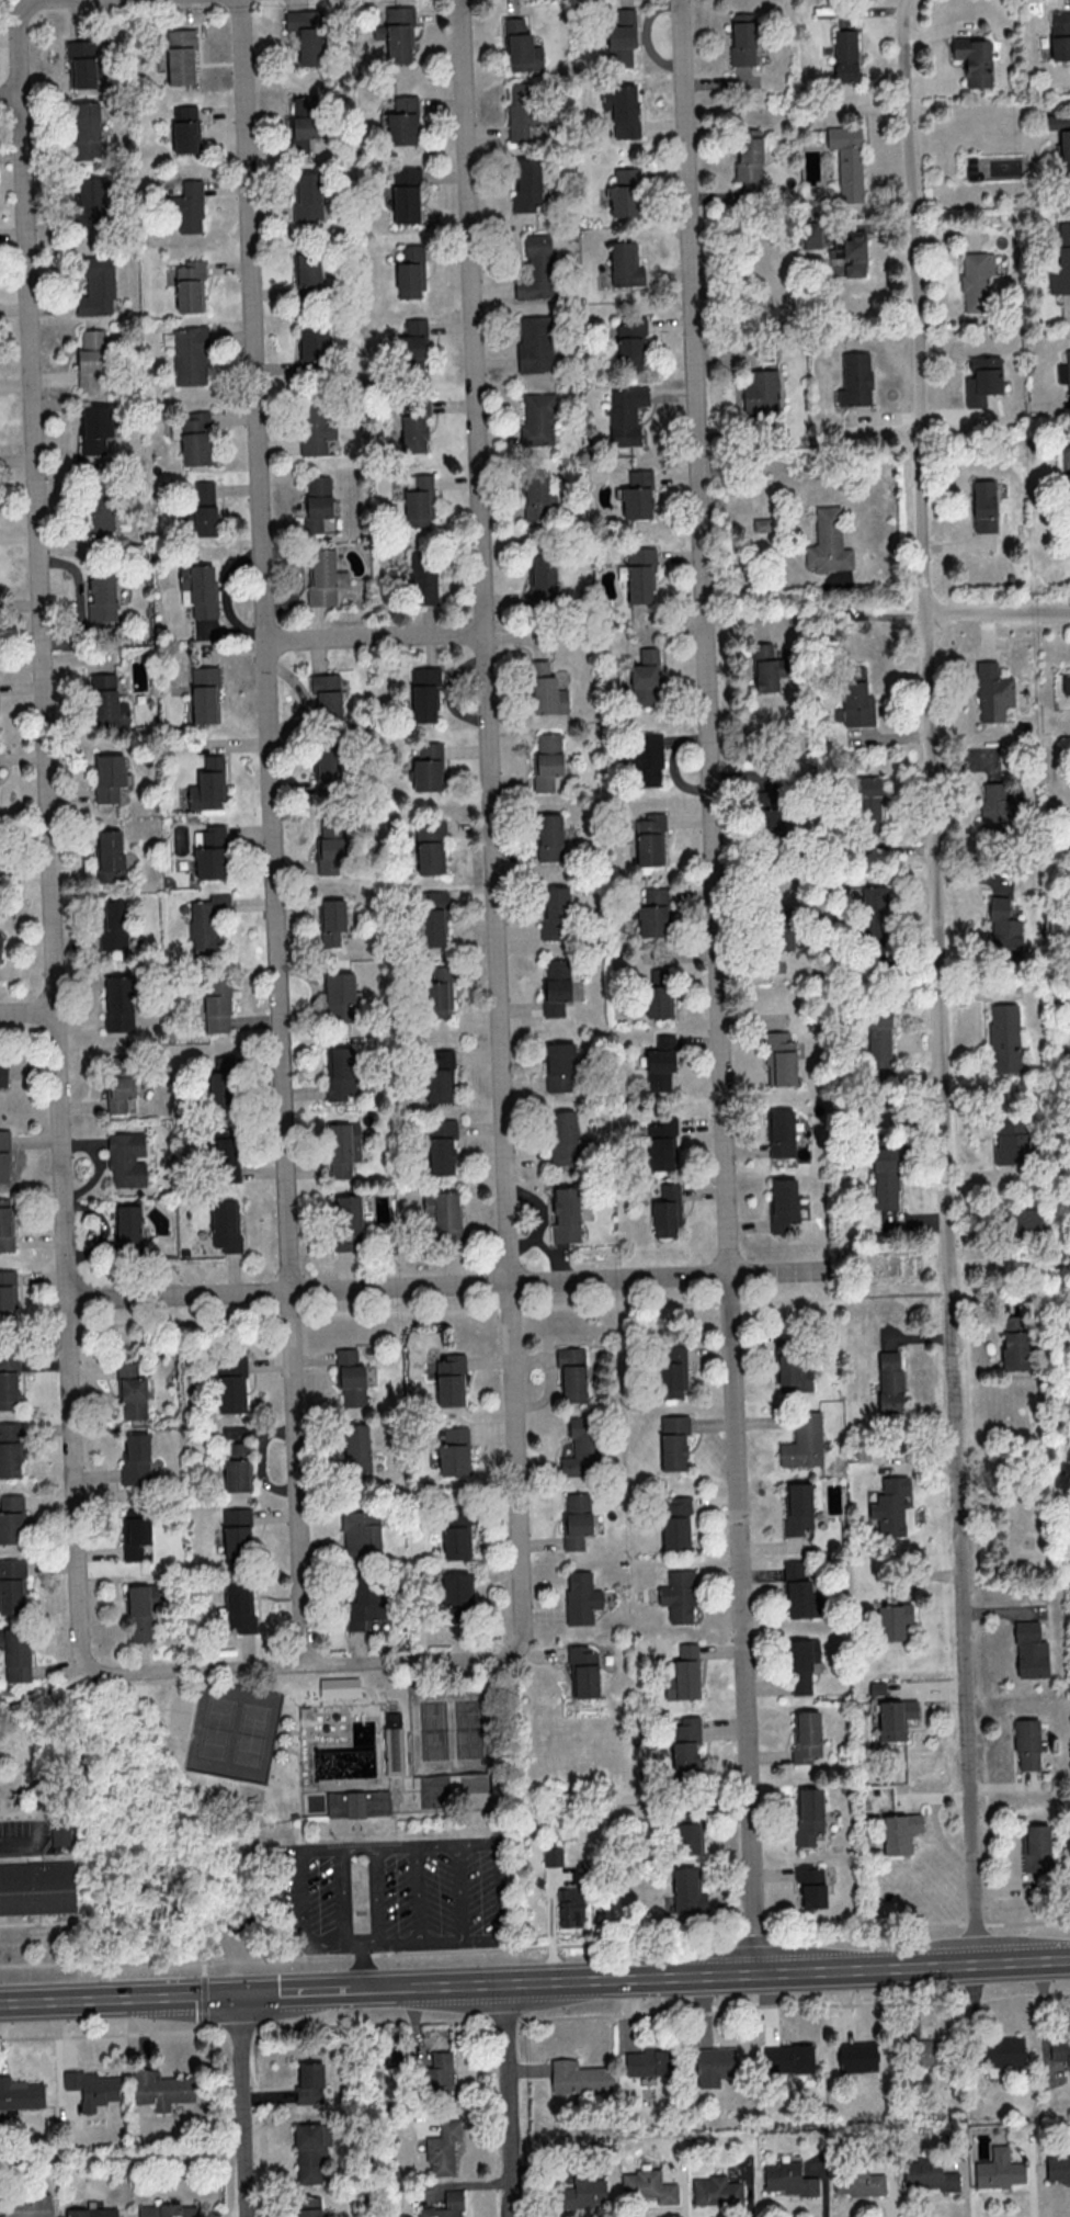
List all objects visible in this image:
road: (35, 2)
building: (306, 33)
building: (396, 33)
building: (1060, 34)
building: (622, 37)
building: (742, 38)
building: (521, 47)
building: (844, 55)
building: (180, 56)
building: (974, 59)
building: (81, 64)
road: (11, 97)
building: (622, 109)
building: (521, 110)
building: (402, 121)
building: (304, 122)
building: (185, 128)
building: (84, 129)
building: (1061, 136)
building: (749, 155)
building: (847, 160)
building: (971, 168)
building: (526, 185)
building: (625, 192)
building: (406, 194)
building: (307, 196)
building: (89, 200)
building: (187, 206)
building: (811, 234)
building: (852, 253)
building: (1061, 262)
building: (625, 264)
building: (308, 268)
building: (536, 268)
building: (410, 272)
building: (976, 280)
building: (190, 285)
building: (96, 286)
building: (535, 342)
building: (630, 343)
building: (312, 347)
building: (413, 349)
building: (187, 354)
building: (91, 359)
building: (1065, 373)
building: (855, 378)
building: (982, 380)
building: (760, 392)
building: (626, 415)
building: (537, 419)
building: (414, 425)
building: (95, 427)
building: (315, 431)
building: (195, 438)
building: (539, 493)
building: (637, 495)
building: (1068, 496)
building: (418, 499)
building: (317, 501)
building: (983, 506)
building: (204, 508)
building: (100, 509)
building: (828, 542)
building: (640, 575)
building: (543, 577)
building: (325, 578)
building: (200, 588)
building: (102, 597)
road: (999, 613)
road: (869, 615)
road: (375, 635)
building: (764, 666)
building: (645, 678)
building: (1066, 683)
building: (546, 690)
building: (992, 691)
building: (424, 692)
building: (205, 693)
building: (326, 697)
building: (855, 698)
building: (107, 702)
building: (646, 758)
building: (547, 759)
building: (428, 767)
building: (326, 770)
building: (110, 777)
building: (208, 784)
building: (868, 805)
building: (997, 806)
road: (491, 824)
road: (273, 832)
road: (49, 835)
building: (549, 837)
building: (649, 839)
building: (330, 847)
building: (430, 847)
building: (209, 851)
building: (110, 855)
building: (875, 902)
building: (652, 913)
building: (554, 914)
building: (432, 918)
building: (332, 920)
building: (206, 921)
building: (113, 925)
building: (1003, 928)
building: (0, 940)
building: (658, 972)
road: (937, 981)
building: (556, 985)
road: (719, 985)
building: (439, 993)
building: (340, 996)
building: (658, 1000)
building: (118, 1003)
building: (217, 1003)
road: (27, 1011)
building: (878, 1038)
building: (1003, 1038)
building: (779, 1059)
building: (660, 1063)
building: (119, 1065)
building: (560, 1066)
building: (2, 1074)
building: (340, 1074)
building: (440, 1075)
building: (220, 1083)
building: (119, 1091)
building: (782, 1133)
building: (564, 1138)
building: (1011, 1142)
building: (660, 1143)
building: (442, 1145)
building: (343, 1147)
building: (4, 1155)
building: (126, 1158)
building: (225, 1160)
building: (885, 1177)
building: (783, 1203)
building: (667, 1210)
building: (443, 1211)
building: (566, 1214)
building: (1022, 1220)
building: (348, 1222)
building: (226, 1224)
building: (5, 1225)
building: (127, 1226)
road: (453, 1283)
building: (8, 1292)
road: (533, 1310)
building: (1012, 1322)
building: (1014, 1350)
building: (345, 1356)
building: (794, 1370)
building: (672, 1371)
building: (572, 1373)
building: (8, 1381)
building: (449, 1381)
building: (889, 1381)
building: (231, 1384)
building: (352, 1384)
building: (132, 1392)
building: (1069, 1421)
building: (673, 1441)
building: (802, 1441)
building: (356, 1448)
building: (581, 1448)
building: (10, 1450)
building: (454, 1452)
building: (135, 1460)
building: (237, 1469)
building: (798, 1509)
building: (11, 1519)
building: (577, 1520)
building: (675, 1523)
building: (361, 1532)
building: (135, 1534)
building: (456, 1534)
building: (237, 1536)
building: (11, 1586)
building: (456, 1590)
building: (799, 1592)
building: (678, 1596)
building: (581, 1597)
building: (363, 1604)
building: (239, 1605)
building: (139, 1613)
building: (892, 1620)
building: (1029, 1651)
building: (15, 1653)
road: (303, 1664)
building: (799, 1667)
building: (583, 1671)
building: (683, 1674)
building: (339, 1687)
building: (876, 1688)
road: (52, 1692)
park: (181, 1713)
building: (895, 1718)
park: (473, 1727)
park: (214, 1728)
park: (432, 1729)
park: (255, 1735)
building: (806, 1735)
building: (1026, 1743)
building: (395, 1744)
building: (685, 1746)
park: (434, 1795)
building: (360, 1805)
building: (808, 1816)
building: (61, 1832)
building: (899, 1832)
building: (686, 1834)
road: (16, 1837)
road: (399, 1844)
building: (1035, 1847)
building: (551, 1855)
building: (810, 1884)
building: (36, 1888)
road: (496, 1890)
building: (687, 1890)
road: (460, 1891)
road: (418, 1892)
road: (305, 1893)
road: (341, 1894)
road: (376, 1894)
building: (570, 1907)
road: (430, 1941)
road: (333, 1942)
road: (536, 1945)
road: (364, 1965)
road: (709, 1972)
road: (295, 1990)
traffic signals: (241, 1993)
road: (121, 1998)
road: (535, 2017)
building: (923, 2051)
building: (1004, 2051)
building: (1060, 2051)
building: (857, 2056)
building: (787, 2058)
building: (648, 2061)
building: (712, 2066)
building: (437, 2074)
building: (579, 2078)
building: (309, 2083)
building: (92, 2088)
building: (160, 2089)
building: (21, 2093)
road: (510, 2100)
road: (242, 2105)
building: (443, 2147)
building: (310, 2150)
building: (998, 2169)
building: (1058, 2169)
building: (929, 2175)
building: (788, 2179)
building: (857, 2182)
building: (648, 2185)
building: (716, 2191)
building: (581, 2193)
building: (452, 2197)
building: (26, 2207)
building: (308, 2207)
building: (92, 2210)
building: (168, 2210)

